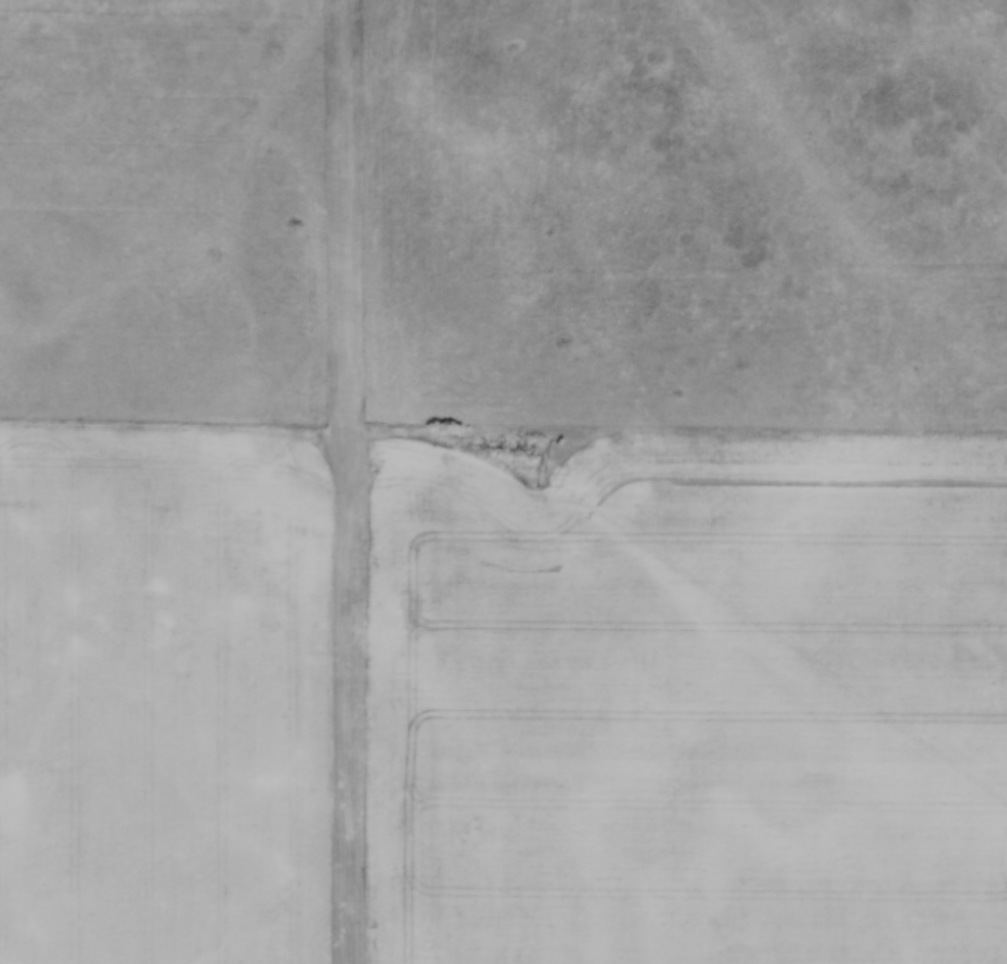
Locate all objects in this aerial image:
power tower: (540, 480)
road: (349, 595)

